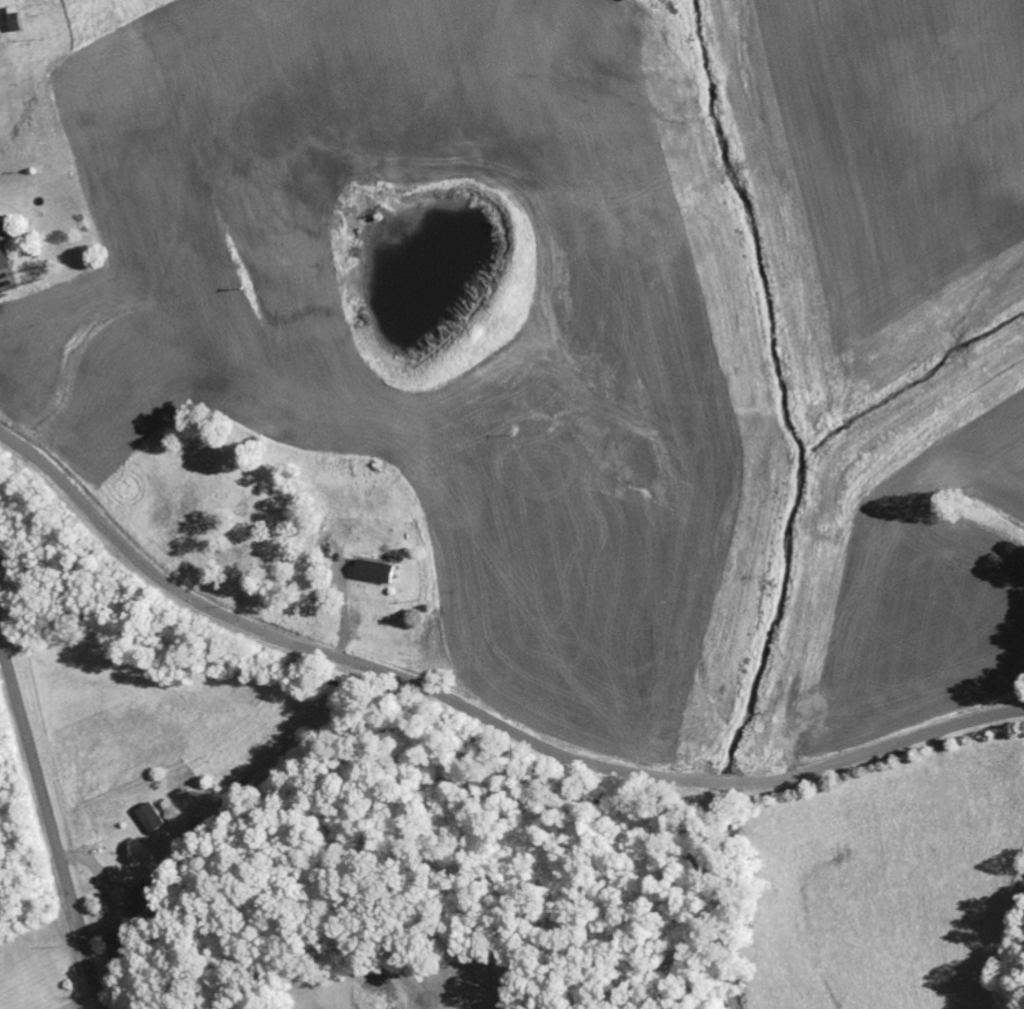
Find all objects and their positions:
building: (0, 29)
building: (4, 250)
building: (377, 571)
road: (480, 713)
building: (153, 818)
road: (50, 826)
building: (144, 898)
building: (120, 947)

